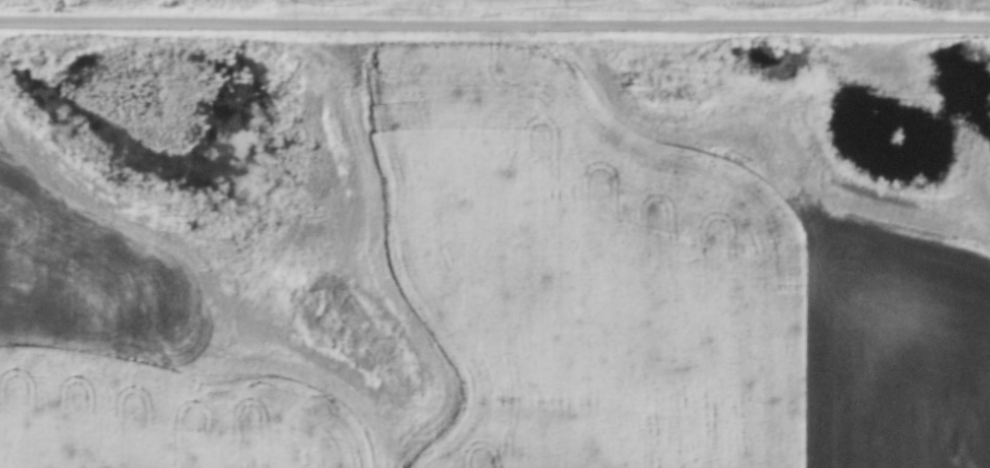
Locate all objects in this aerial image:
road: (494, 29)

